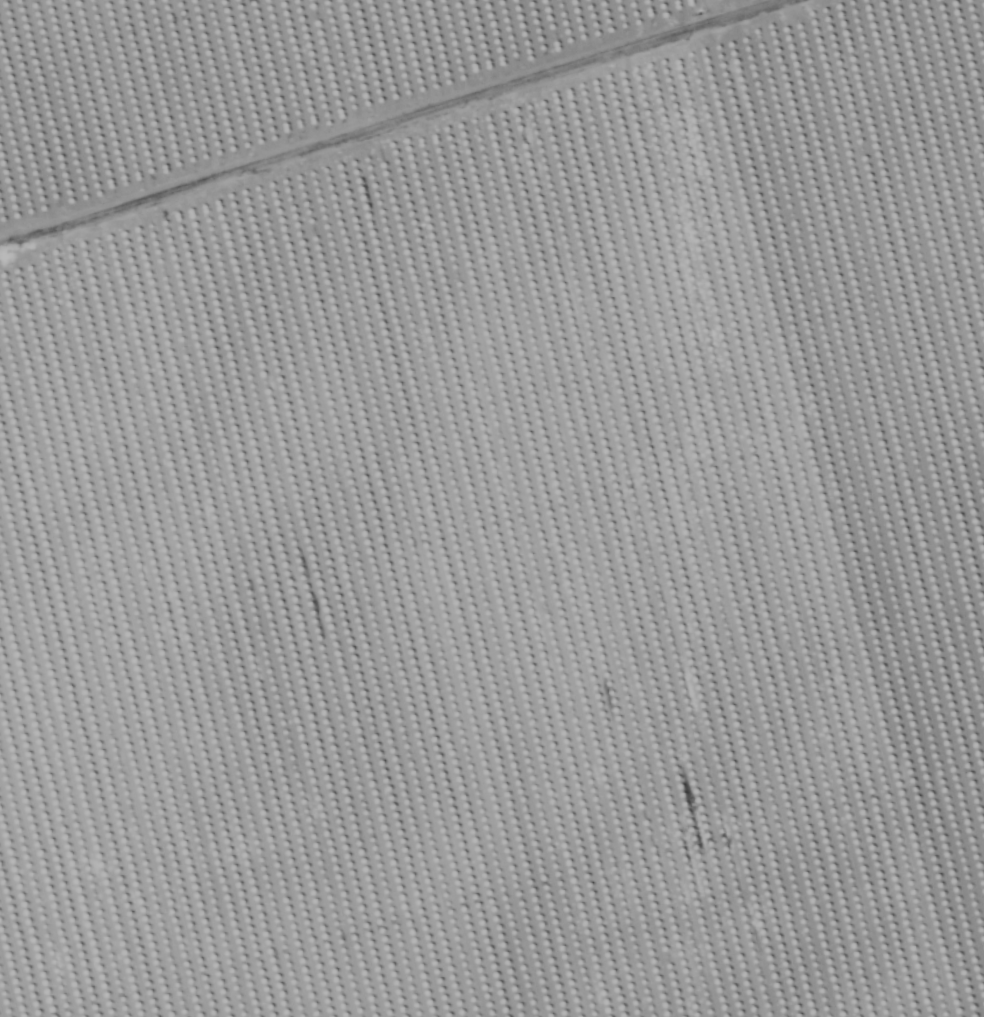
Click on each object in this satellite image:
crop: (492, 508)

